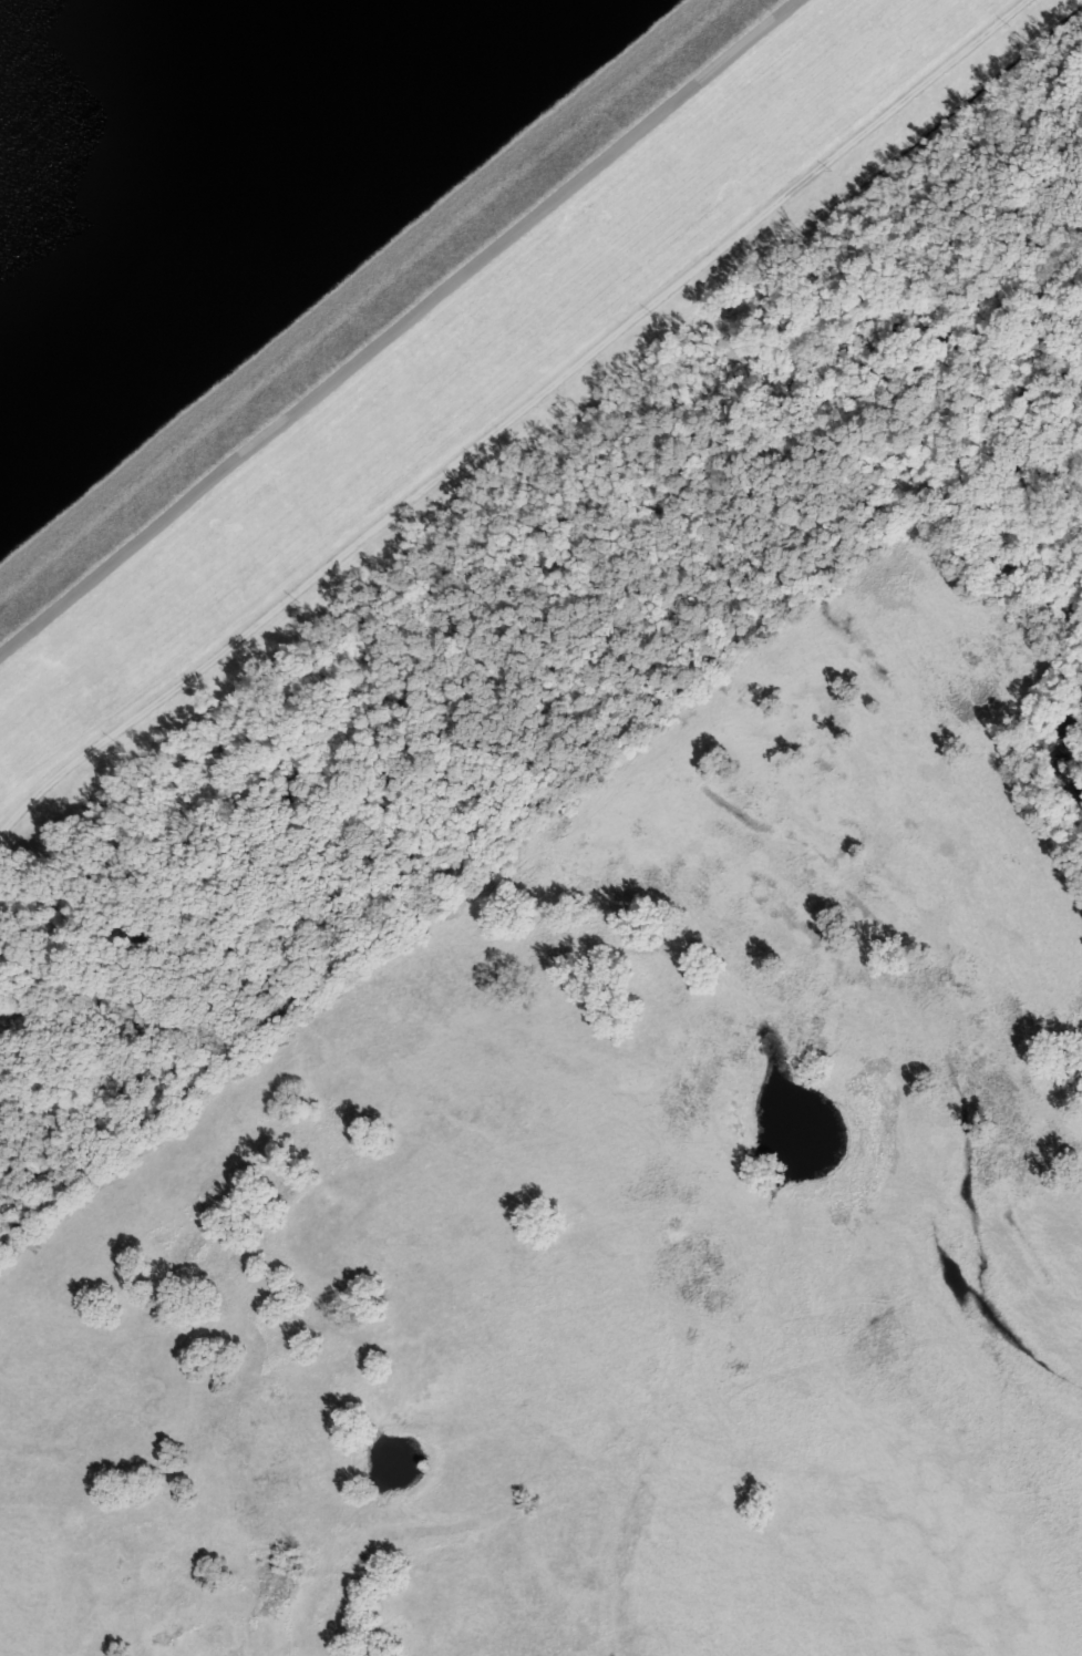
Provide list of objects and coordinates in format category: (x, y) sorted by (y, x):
road: (405, 333)

